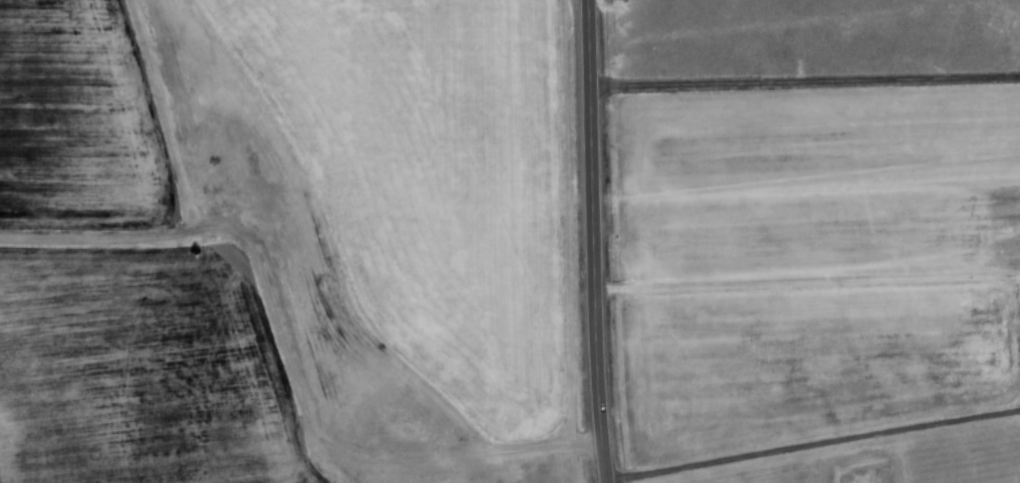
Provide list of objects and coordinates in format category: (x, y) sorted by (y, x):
road: (591, 241)

